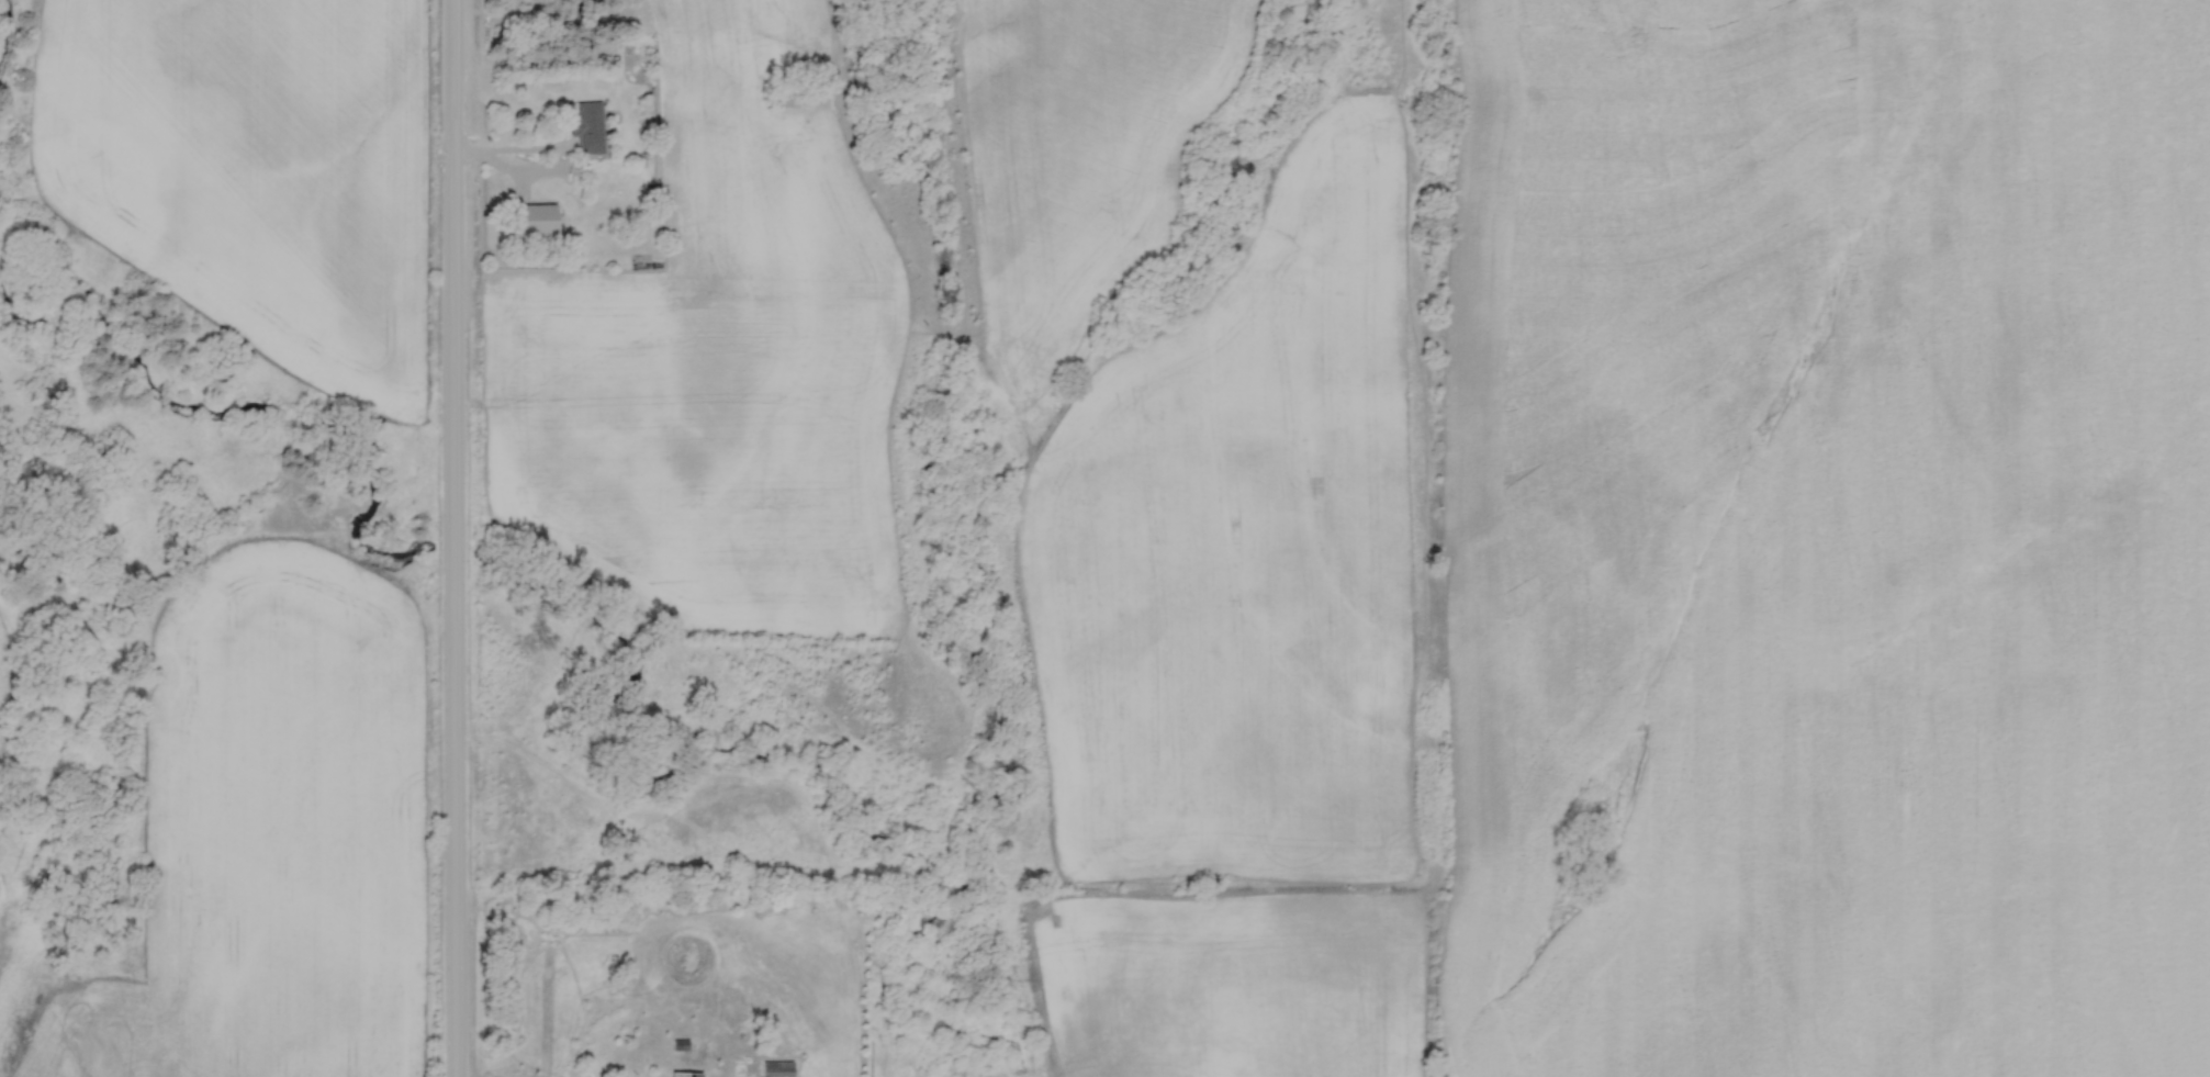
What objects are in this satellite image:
building: (585, 128)
road: (515, 148)
building: (532, 221)
road: (456, 538)
building: (776, 1069)
building: (684, 1074)

